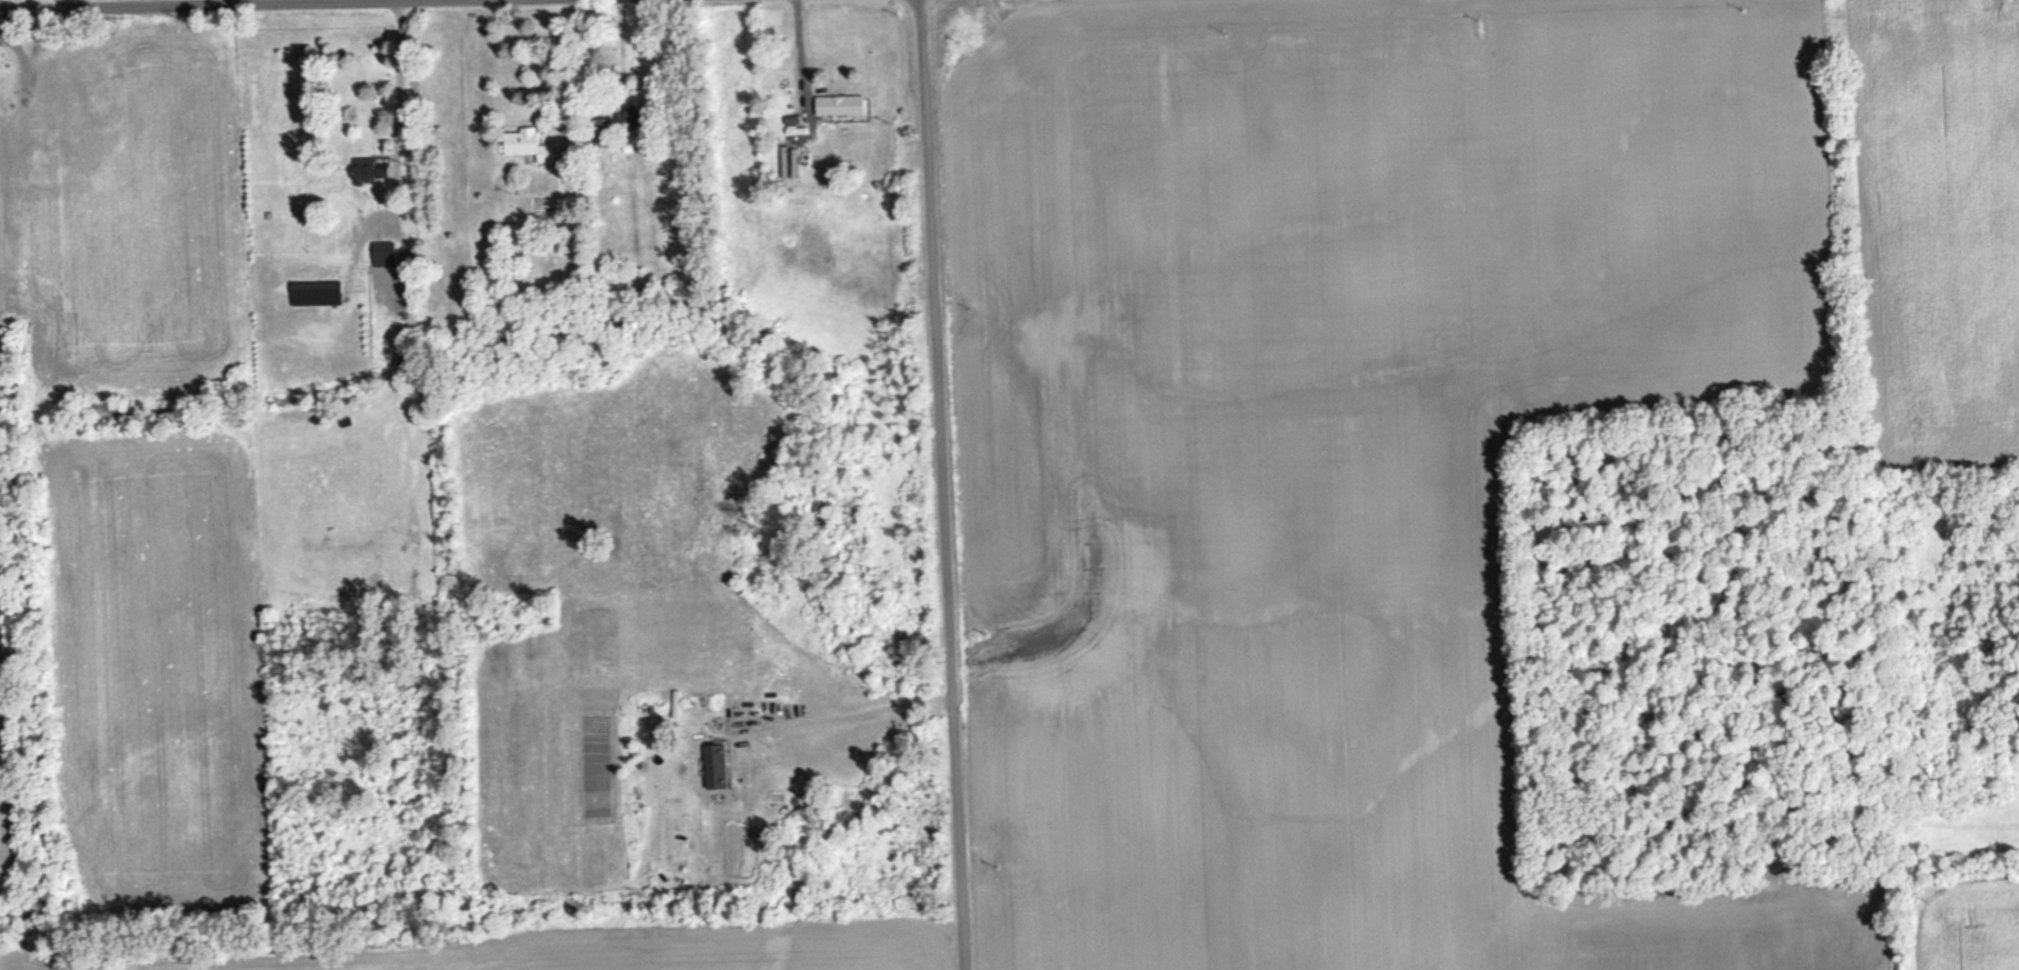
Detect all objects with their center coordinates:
road: (120, 3)
building: (57, 53)
building: (842, 105)
building: (111, 119)
building: (637, 119)
building: (606, 132)
building: (54, 134)
building: (530, 145)
building: (60, 170)
building: (372, 170)
building: (387, 254)
building: (319, 294)
road: (945, 485)
building: (720, 767)

